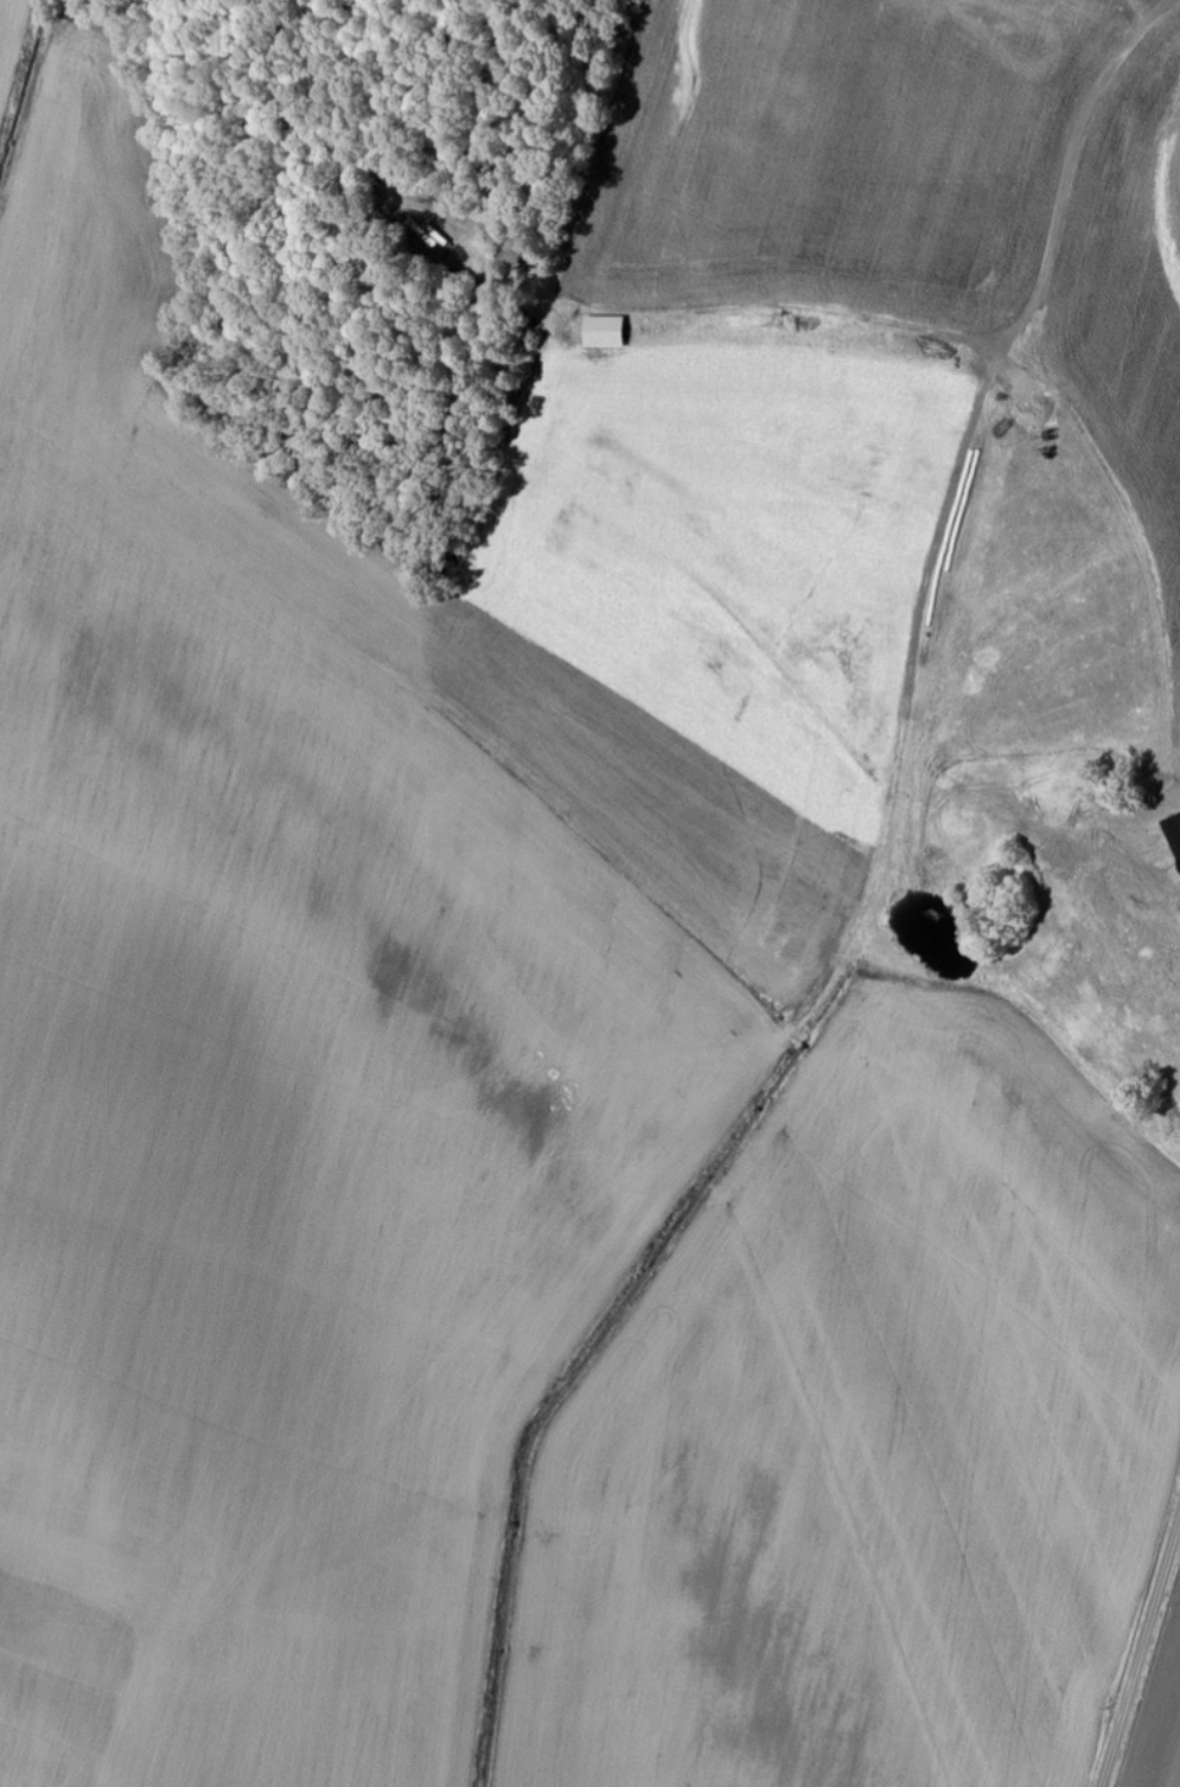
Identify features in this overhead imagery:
building: (613, 333)
road: (1141, 1653)

